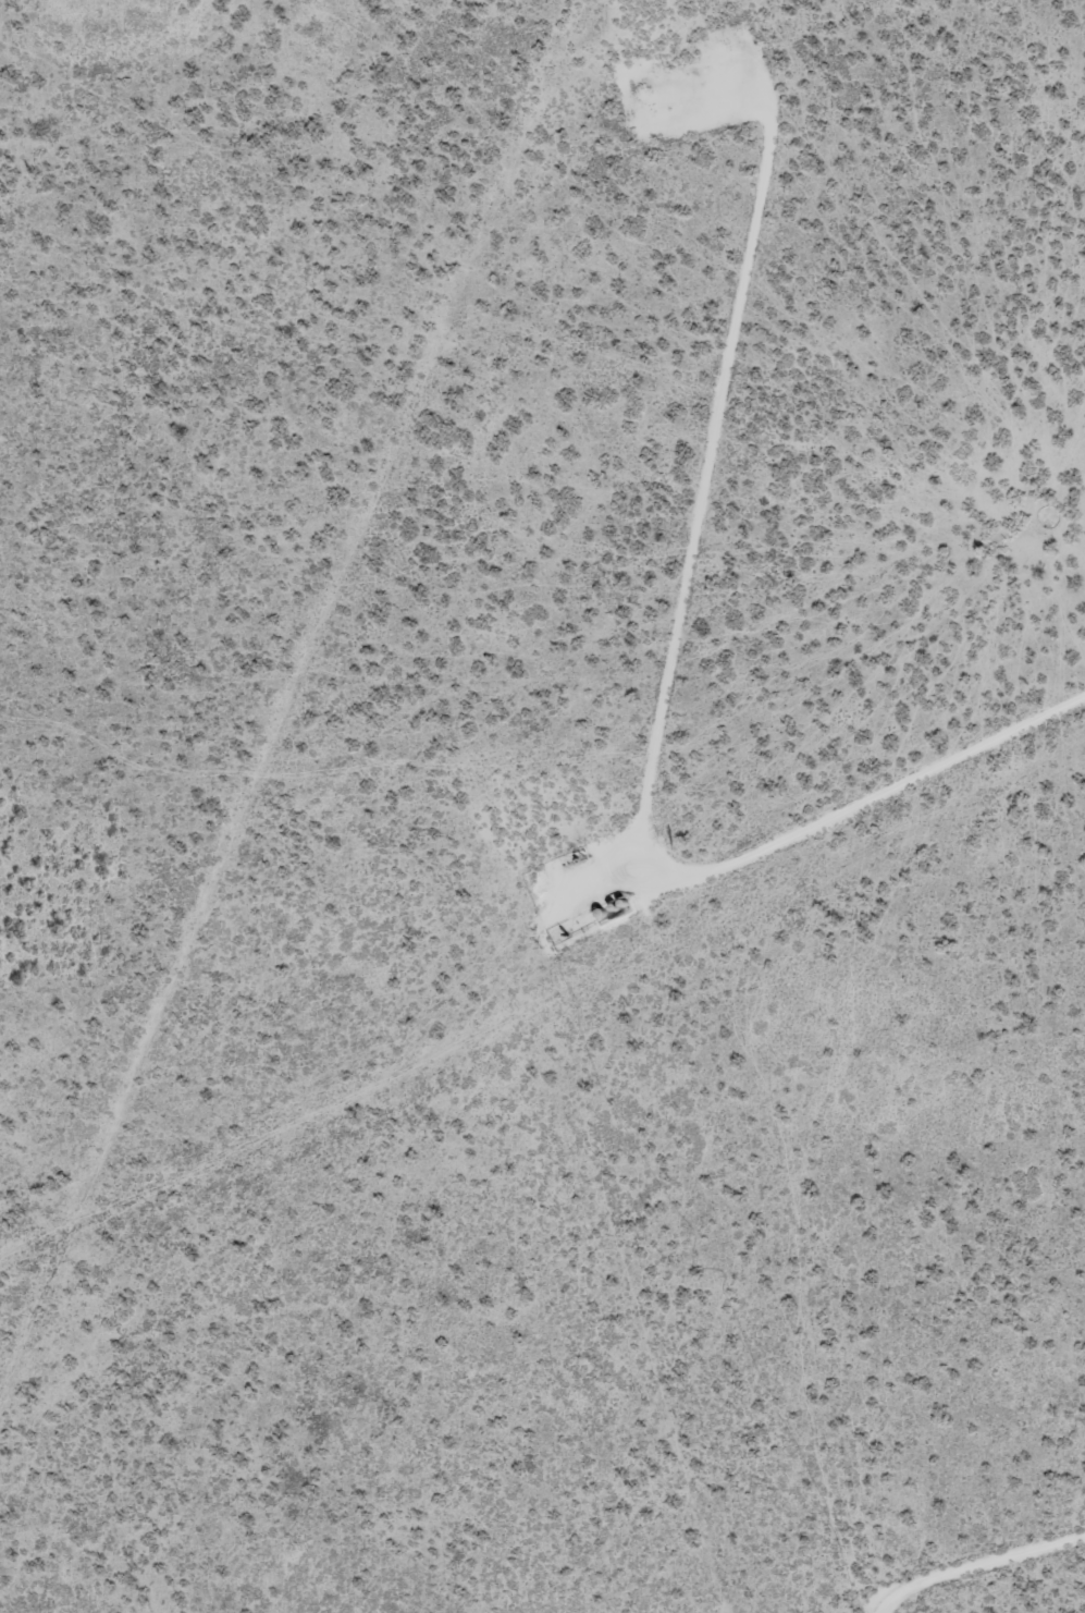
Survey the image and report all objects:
road: (973, 1564)

